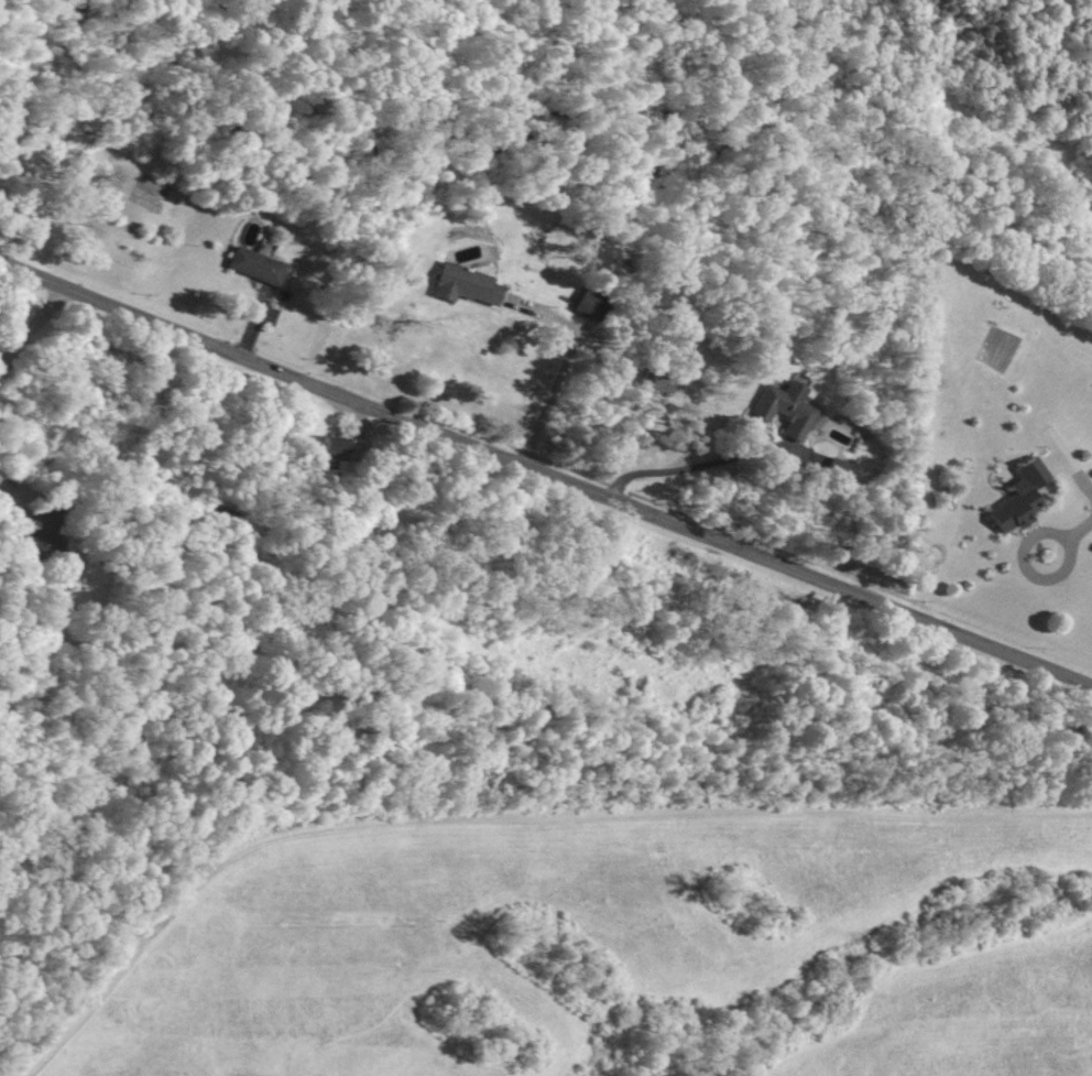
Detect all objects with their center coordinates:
building: (251, 265)
building: (461, 284)
building: (586, 305)
road: (30, 322)
road: (563, 365)
building: (651, 382)
building: (780, 407)
building: (331, 455)
road: (700, 466)
building: (823, 466)
road: (545, 472)
road: (3, 482)
building: (1016, 497)
building: (45, 514)
road: (1077, 530)
road: (1067, 553)

